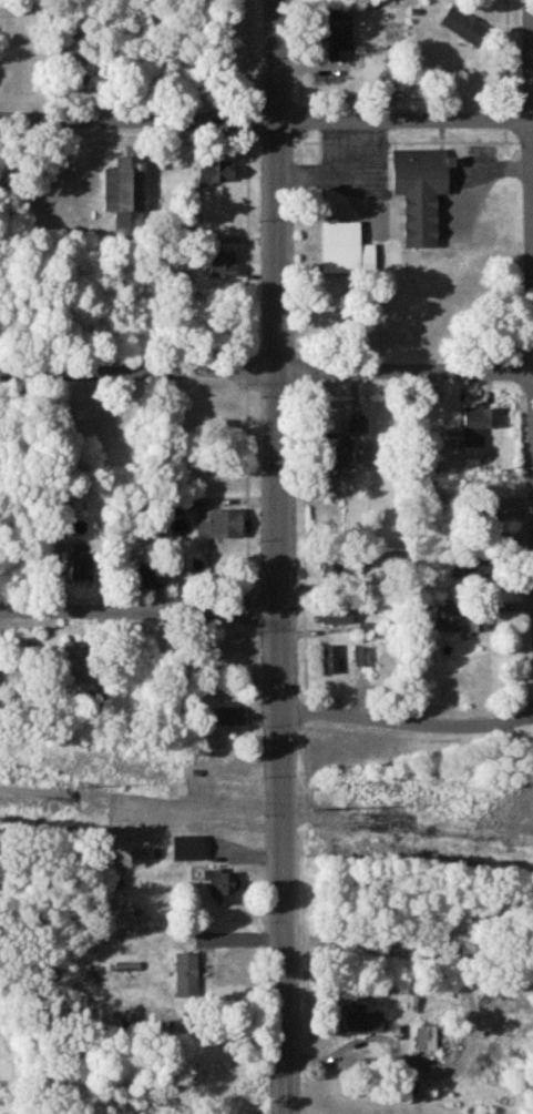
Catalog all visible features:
building: (464, 26)
building: (341, 36)
road: (101, 58)
road: (532, 58)
road: (266, 115)
building: (219, 172)
building: (126, 190)
building: (422, 192)
building: (348, 250)
building: (229, 265)
road: (266, 371)
building: (481, 425)
building: (93, 432)
building: (356, 446)
building: (223, 525)
road: (279, 556)
building: (91, 568)
building: (146, 578)
road: (141, 607)
building: (338, 615)
building: (462, 625)
building: (334, 660)
building: (103, 698)
building: (234, 718)
road: (409, 721)
building: (524, 814)
building: (224, 889)
building: (188, 976)
building: (366, 1020)
building: (429, 1040)
road: (383, 1065)

